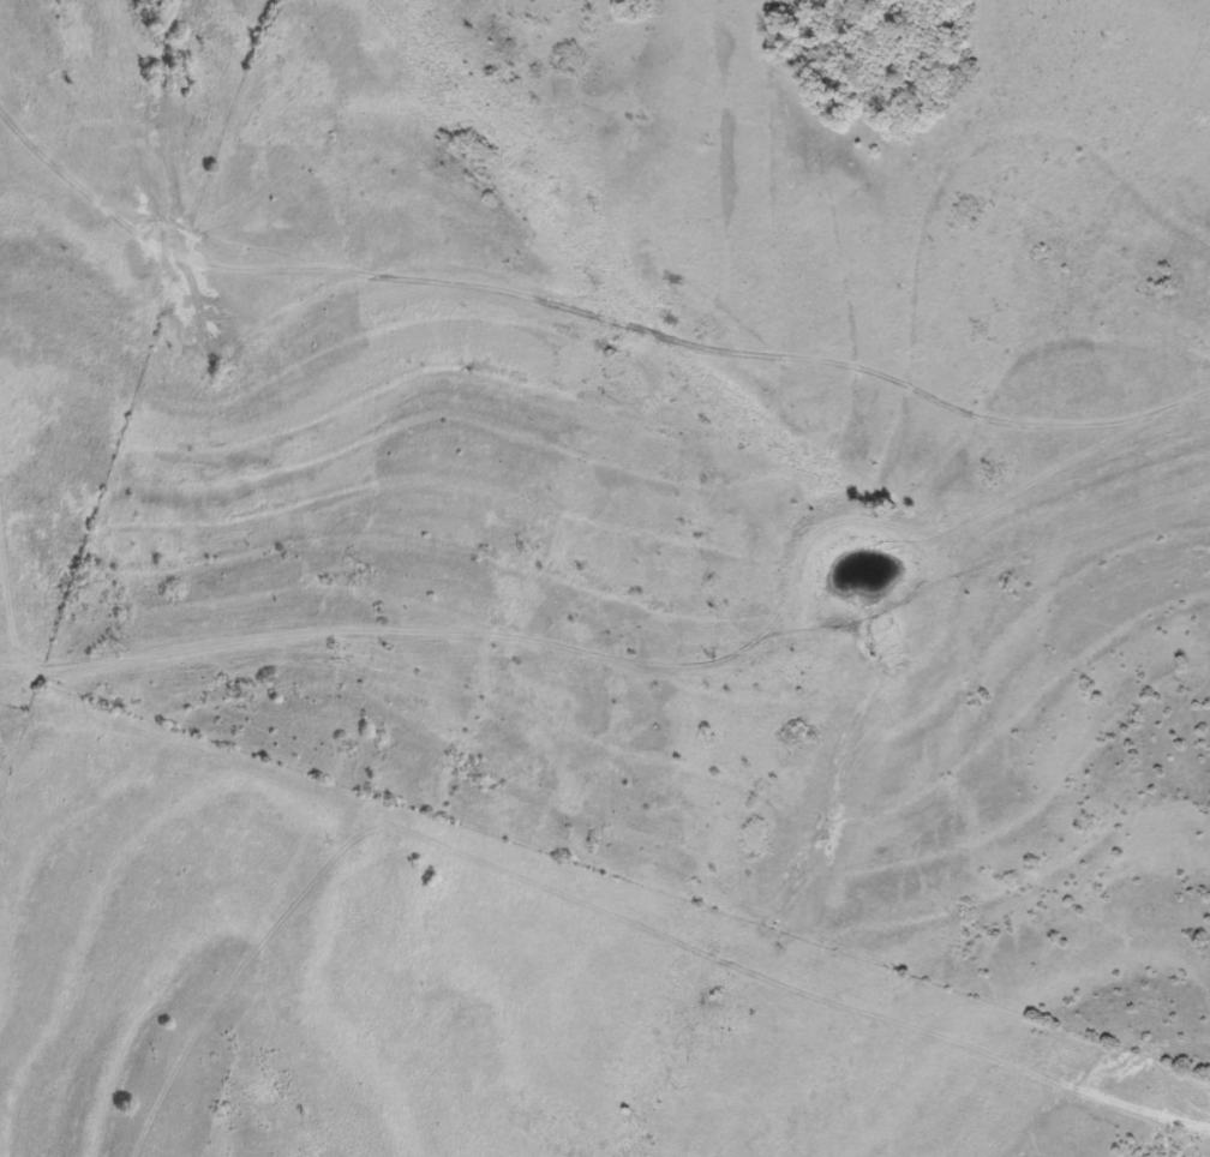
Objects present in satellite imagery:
road: (1167, 1113)

